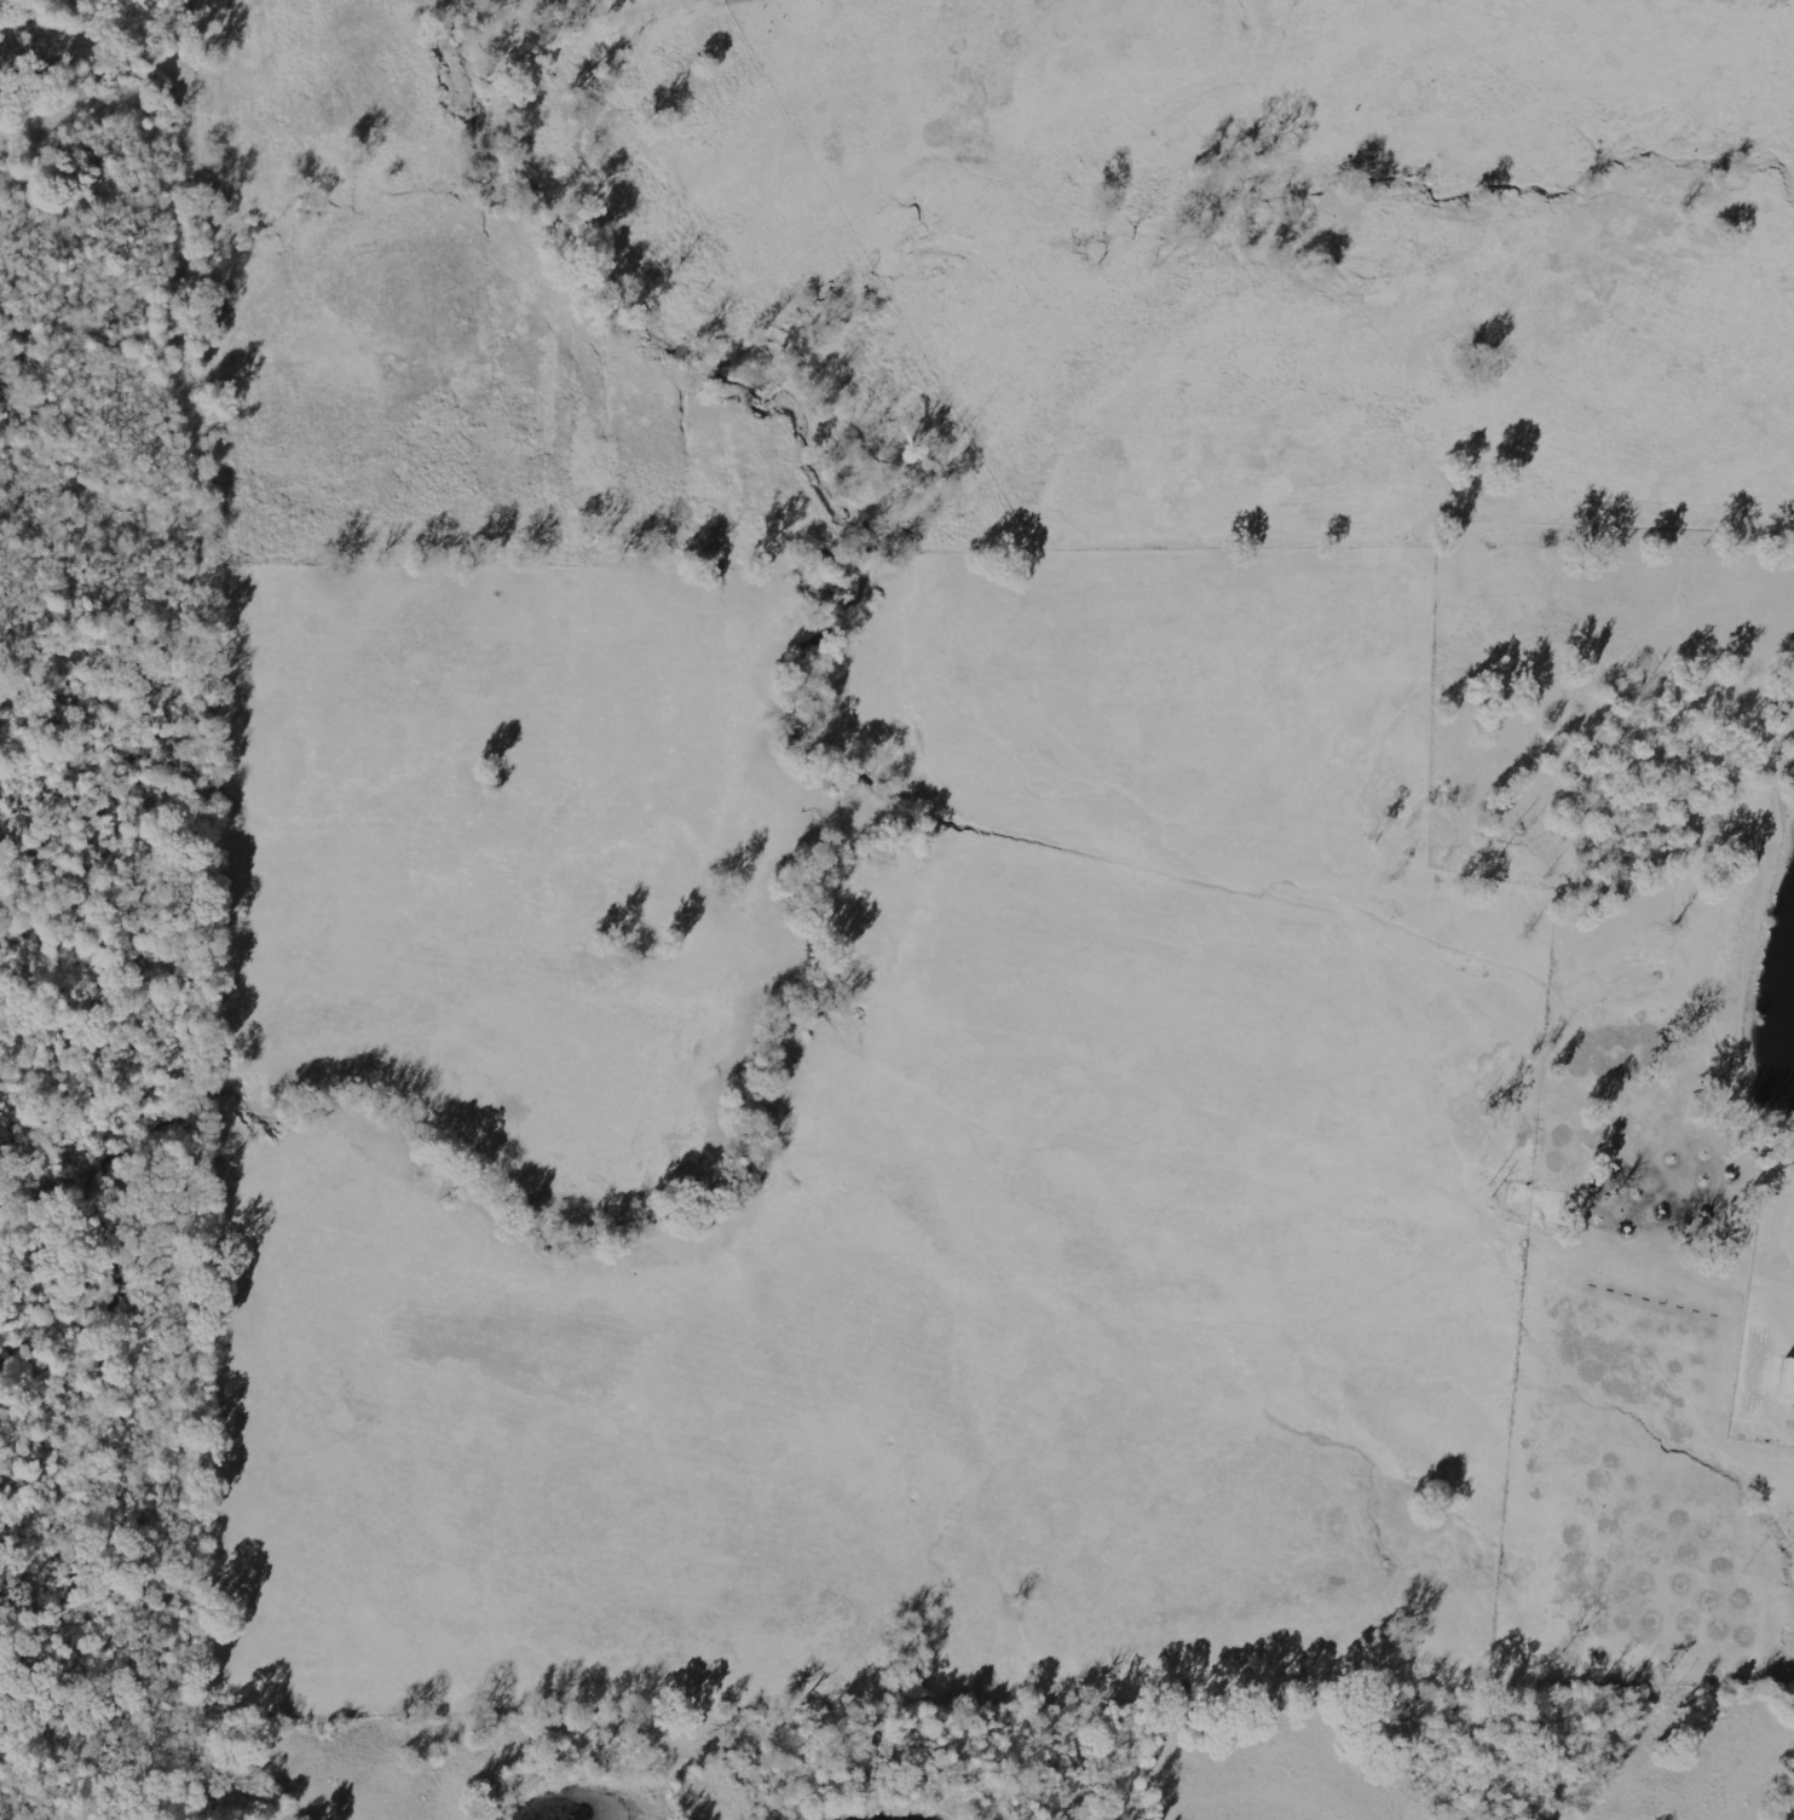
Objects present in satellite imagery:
building: (1786, 1378)

